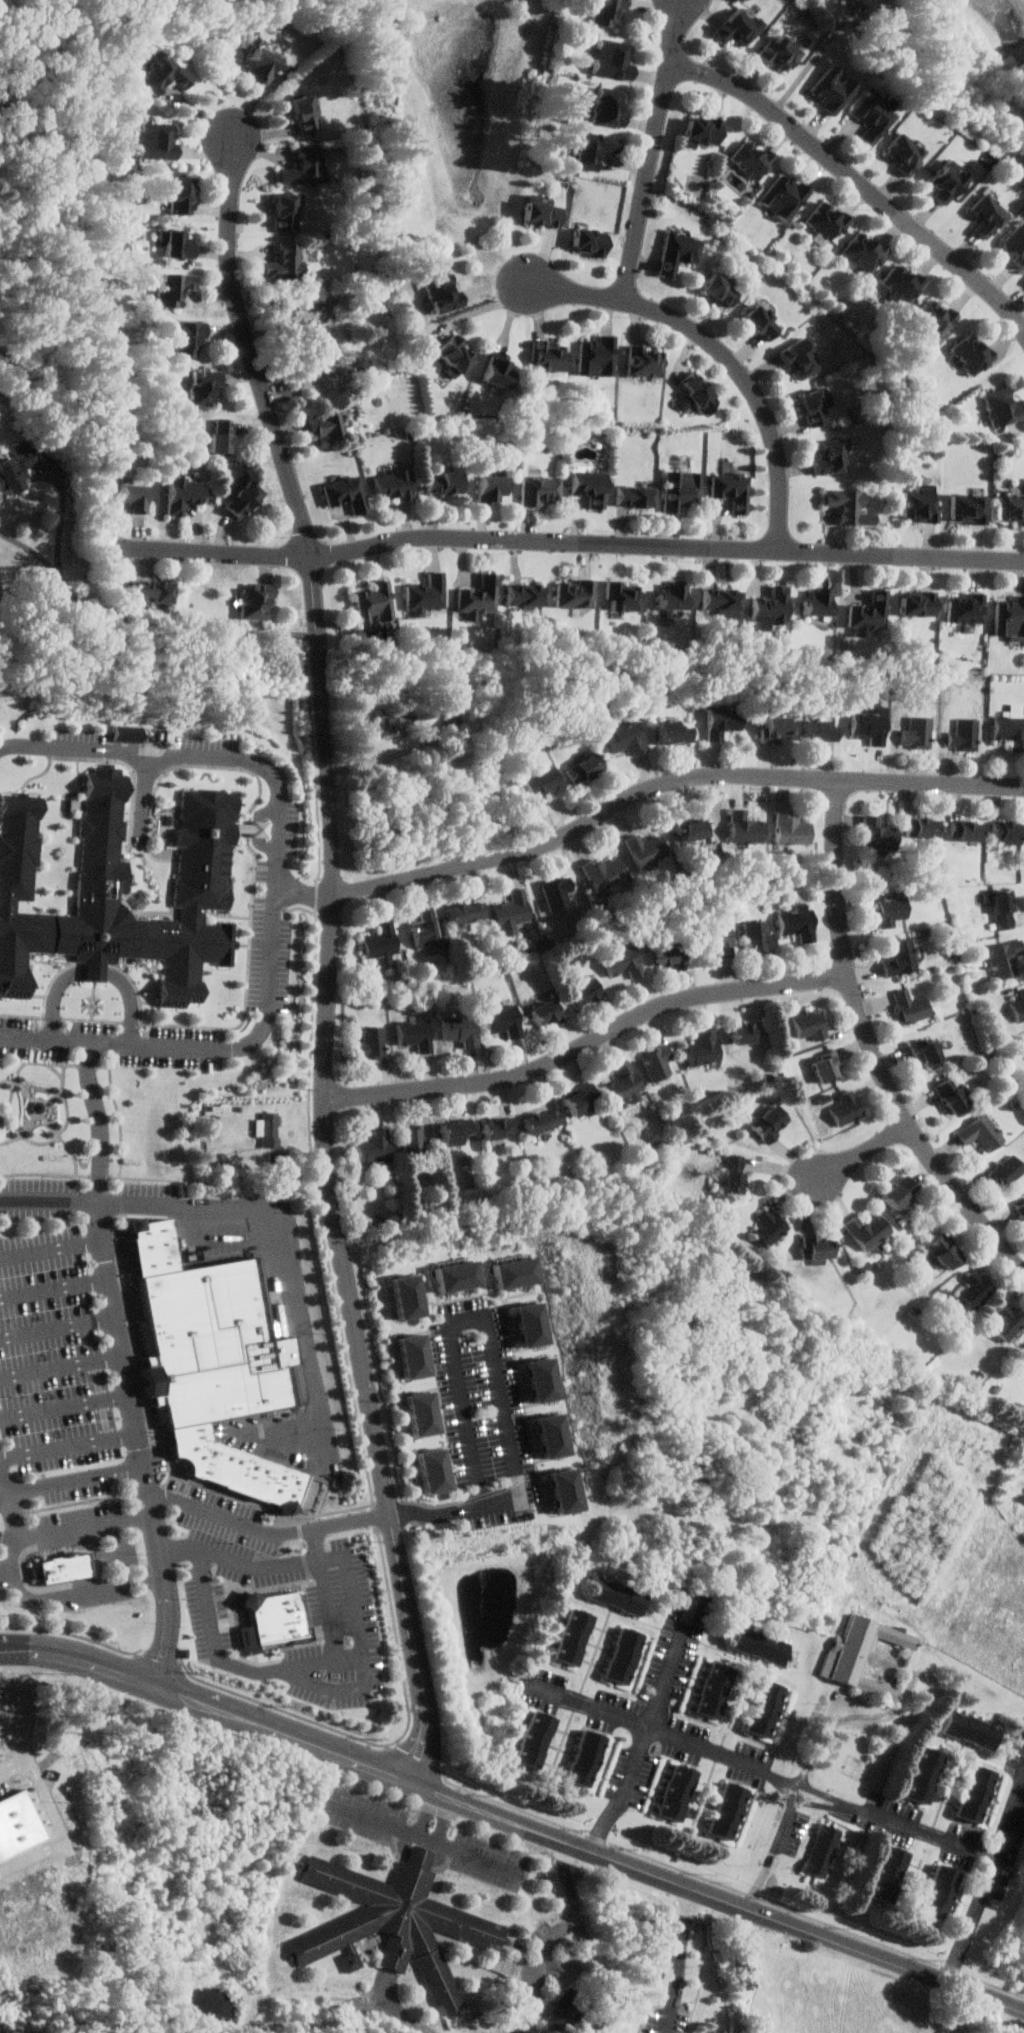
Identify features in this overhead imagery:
building: (605, 12)
building: (737, 27)
building: (779, 54)
road: (816, 58)
building: (611, 59)
building: (259, 63)
building: (161, 75)
building: (831, 91)
building: (607, 108)
building: (303, 115)
building: (872, 119)
building: (701, 130)
building: (154, 141)
building: (590, 149)
road: (653, 150)
building: (902, 152)
building: (750, 159)
building: (302, 168)
road: (857, 179)
building: (942, 180)
building: (178, 196)
building: (783, 198)
building: (283, 213)
building: (539, 213)
building: (982, 215)
building: (825, 220)
building: (586, 242)
building: (177, 244)
building: (1012, 246)
building: (677, 251)
building: (863, 251)
building: (284, 263)
building: (900, 283)
building: (171, 288)
building: (719, 290)
building: (439, 293)
building: (933, 317)
building: (759, 322)
building: (186, 338)
building: (311, 344)
road: (725, 352)
building: (452, 354)
building: (970, 354)
building: (548, 357)
building: (596, 357)
building: (799, 359)
building: (644, 362)
building: (495, 371)
building: (203, 388)
building: (693, 389)
building: (1000, 407)
building: (811, 408)
building: (324, 426)
building: (219, 438)
building: (830, 458)
building: (16, 468)
building: (442, 483)
building: (391, 486)
building: (588, 488)
building: (489, 490)
building: (680, 491)
building: (731, 491)
building: (538, 492)
building: (344, 493)
building: (182, 495)
road: (1, 496)
building: (632, 497)
building: (132, 498)
building: (241, 500)
building: (844, 506)
building: (919, 506)
building: (967, 510)
building: (1010, 510)
road: (571, 541)
road: (31, 548)
building: (150, 592)
building: (573, 594)
building: (424, 596)
building: (477, 596)
building: (622, 596)
building: (670, 596)
building: (524, 597)
building: (255, 603)
building: (717, 603)
building: (816, 603)
building: (372, 604)
building: (915, 604)
building: (769, 607)
building: (963, 608)
building: (867, 613)
building: (1009, 617)
road: (178, 629)
road: (321, 656)
building: (390, 720)
building: (722, 722)
building: (867, 727)
building: (773, 729)
building: (818, 731)
building: (1010, 731)
building: (915, 733)
building: (670, 734)
building: (963, 736)
building: (125, 737)
building: (625, 739)
road: (199, 752)
building: (583, 769)
road: (669, 780)
building: (539, 786)
building: (743, 829)
building: (919, 829)
building: (688, 830)
building: (789, 831)
building: (965, 831)
building: (1006, 832)
building: (877, 837)
building: (645, 851)
building: (602, 874)
building: (118, 890)
road: (307, 893)
building: (557, 894)
building: (513, 910)
building: (889, 911)
building: (1000, 911)
building: (466, 913)
building: (796, 923)
building: (425, 930)
building: (716, 935)
building: (757, 938)
building: (380, 944)
building: (668, 954)
building: (898, 958)
building: (1003, 959)
building: (622, 963)
road: (96, 969)
building: (584, 993)
road: (56, 995)
road: (132, 1000)
building: (1019, 1006)
building: (909, 1007)
building: (544, 1013)
building: (500, 1022)
building: (810, 1026)
building: (457, 1031)
building: (742, 1034)
building: (414, 1035)
road: (588, 1042)
building: (370, 1043)
road: (204, 1046)
road: (872, 1046)
building: (927, 1046)
building: (701, 1049)
building: (659, 1063)
building: (825, 1068)
building: (624, 1085)
building: (950, 1097)
building: (577, 1100)
building: (844, 1109)
road: (105, 1119)
building: (541, 1122)
building: (768, 1125)
building: (498, 1129)
building: (268, 1131)
building: (452, 1133)
building: (980, 1134)
building: (413, 1142)
building: (374, 1148)
road: (862, 1151)
building: (1006, 1172)
building: (732, 1175)
road: (166, 1181)
building: (898, 1193)
road: (51, 1200)
building: (1021, 1209)
building: (768, 1229)
building: (866, 1232)
road: (290, 1243)
road: (55, 1246)
building: (814, 1249)
building: (943, 1249)
building: (518, 1271)
building: (458, 1274)
road: (58, 1286)
building: (974, 1288)
building: (406, 1295)
building: (1006, 1322)
building: (534, 1323)
road: (61, 1325)
building: (413, 1354)
building: (212, 1362)
road: (65, 1368)
building: (545, 1378)
road: (68, 1405)
building: (422, 1412)
building: (553, 1434)
road: (145, 1443)
road: (72, 1445)
building: (434, 1469)
road: (6, 1479)
road: (524, 1480)
road: (81, 1483)
road: (384, 1483)
building: (566, 1489)
road: (6, 1498)
road: (53, 1532)
road: (122, 1551)
road: (256, 1566)
building: (66, 1568)
road: (108, 1585)
building: (616, 1595)
road: (329, 1609)
building: (274, 1619)
building: (571, 1637)
building: (758, 1645)
road: (14, 1648)
building: (861, 1654)
building: (621, 1655)
road: (94, 1660)
road: (325, 1661)
road: (314, 1681)
building: (712, 1690)
road: (205, 1702)
building: (763, 1709)
road: (866, 1715)
road: (27, 1723)
road: (651, 1726)
building: (968, 1729)
building: (533, 1739)
road: (334, 1750)
building: (584, 1759)
road: (765, 1770)
building: (922, 1774)
road: (798, 1792)
building: (675, 1793)
building: (974, 1793)
road: (50, 1801)
building: (726, 1812)
road: (437, 1815)
building: (18, 1824)
road: (781, 1829)
road: (427, 1836)
building: (822, 1851)
road: (34, 1858)
building: (885, 1874)
road: (989, 1885)
building: (938, 1893)
road: (718, 1897)
building: (396, 1922)
road: (557, 1935)
road: (679, 1960)
building: (567, 2007)
road: (406, 2016)

